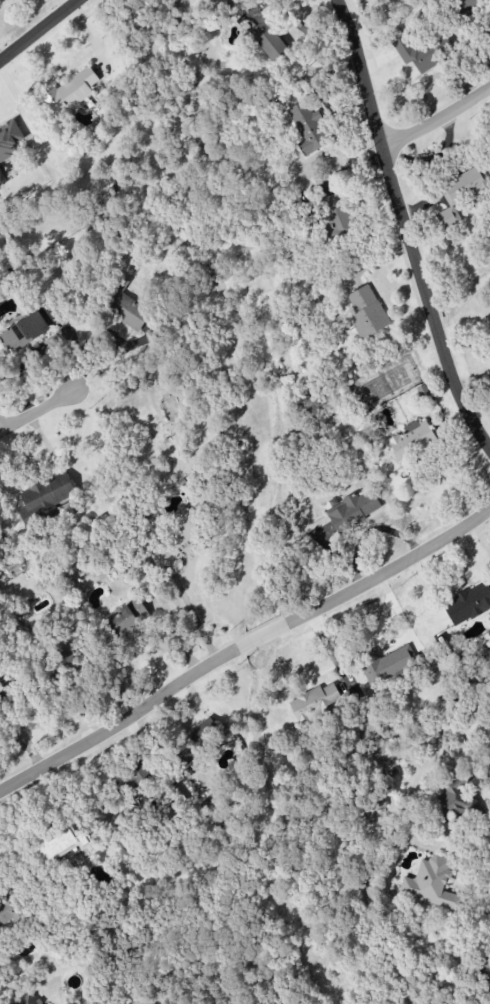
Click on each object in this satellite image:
building: (466, 4)
road: (41, 31)
building: (269, 40)
road: (486, 43)
building: (422, 52)
building: (69, 93)
road: (437, 124)
building: (305, 128)
building: (10, 139)
road: (433, 157)
building: (460, 194)
building: (335, 217)
road: (404, 229)
building: (125, 306)
building: (366, 312)
building: (23, 332)
road: (94, 338)
road: (35, 409)
building: (411, 442)
road: (489, 447)
building: (45, 497)
building: (353, 510)
building: (182, 529)
road: (450, 583)
road: (423, 600)
building: (467, 604)
road: (193, 616)
building: (129, 617)
road: (244, 650)
building: (63, 660)
building: (386, 663)
building: (432, 671)
building: (314, 702)
building: (0, 704)
building: (197, 741)
building: (356, 752)
building: (131, 778)
building: (376, 801)
building: (456, 804)
building: (62, 847)
building: (432, 884)
building: (10, 910)
building: (483, 970)
building: (28, 999)

